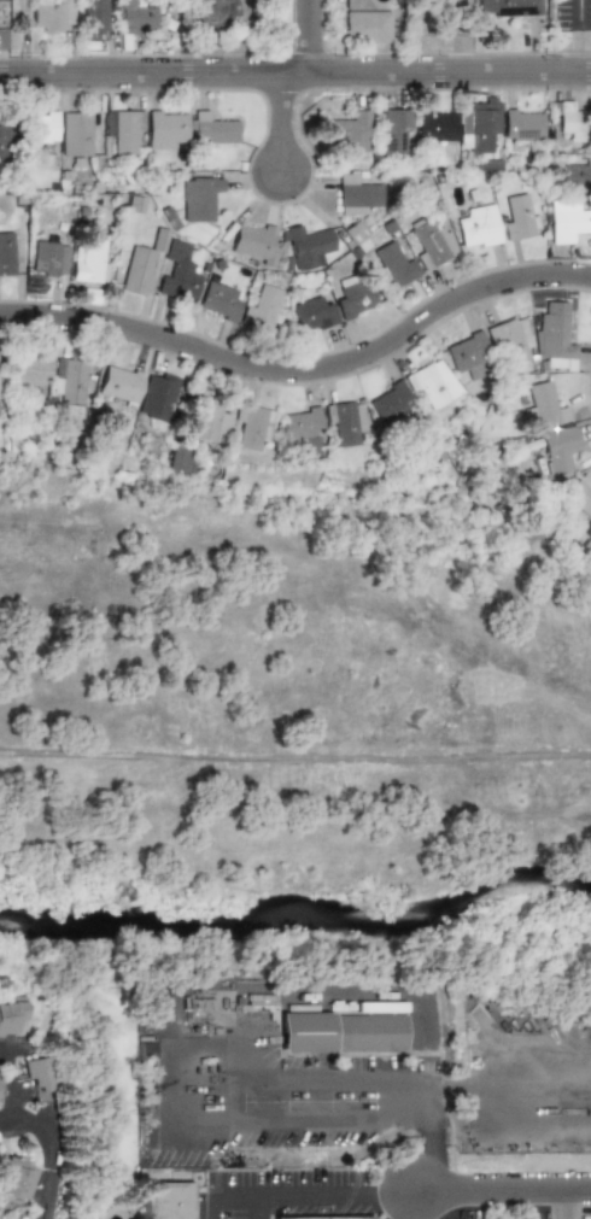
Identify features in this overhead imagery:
building: (273, 1)
building: (359, 4)
building: (509, 7)
building: (52, 16)
building: (136, 17)
building: (98, 19)
building: (367, 25)
park: (224, 29)
road: (309, 36)
road: (583, 36)
road: (294, 74)
building: (570, 121)
road: (282, 123)
building: (522, 124)
building: (435, 125)
building: (41, 127)
building: (479, 127)
building: (394, 128)
building: (166, 129)
building: (124, 130)
building: (211, 130)
building: (349, 130)
building: (78, 131)
building: (4, 135)
building: (577, 176)
building: (358, 194)
building: (200, 198)
building: (520, 217)
building: (567, 221)
building: (478, 227)
building: (353, 233)
building: (254, 241)
building: (432, 241)
building: (305, 246)
building: (7, 253)
building: (49, 259)
building: (92, 262)
building: (397, 263)
building: (140, 268)
building: (177, 272)
building: (355, 298)
building: (221, 301)
building: (263, 309)
building: (314, 313)
building: (552, 333)
building: (510, 340)
building: (470, 354)
building: (33, 369)
road: (303, 370)
building: (71, 380)
building: (119, 383)
building: (435, 383)
building: (157, 395)
building: (390, 403)
building: (544, 406)
building: (206, 421)
building: (344, 421)
building: (250, 426)
building: (302, 428)
building: (561, 441)
building: (177, 459)
building: (579, 497)
park: (271, 690)
road: (294, 760)
river: (298, 921)
building: (11, 1016)
building: (343, 1033)
road: (253, 1049)
building: (41, 1073)
road: (10, 1079)
road: (234, 1079)
road: (49, 1149)
building: (17, 1178)
road: (503, 1188)
road: (378, 1191)
road: (223, 1195)
building: (168, 1201)
road: (434, 1203)
road: (566, 1203)
road: (381, 1205)
road: (257, 1206)
building: (323, 1218)

